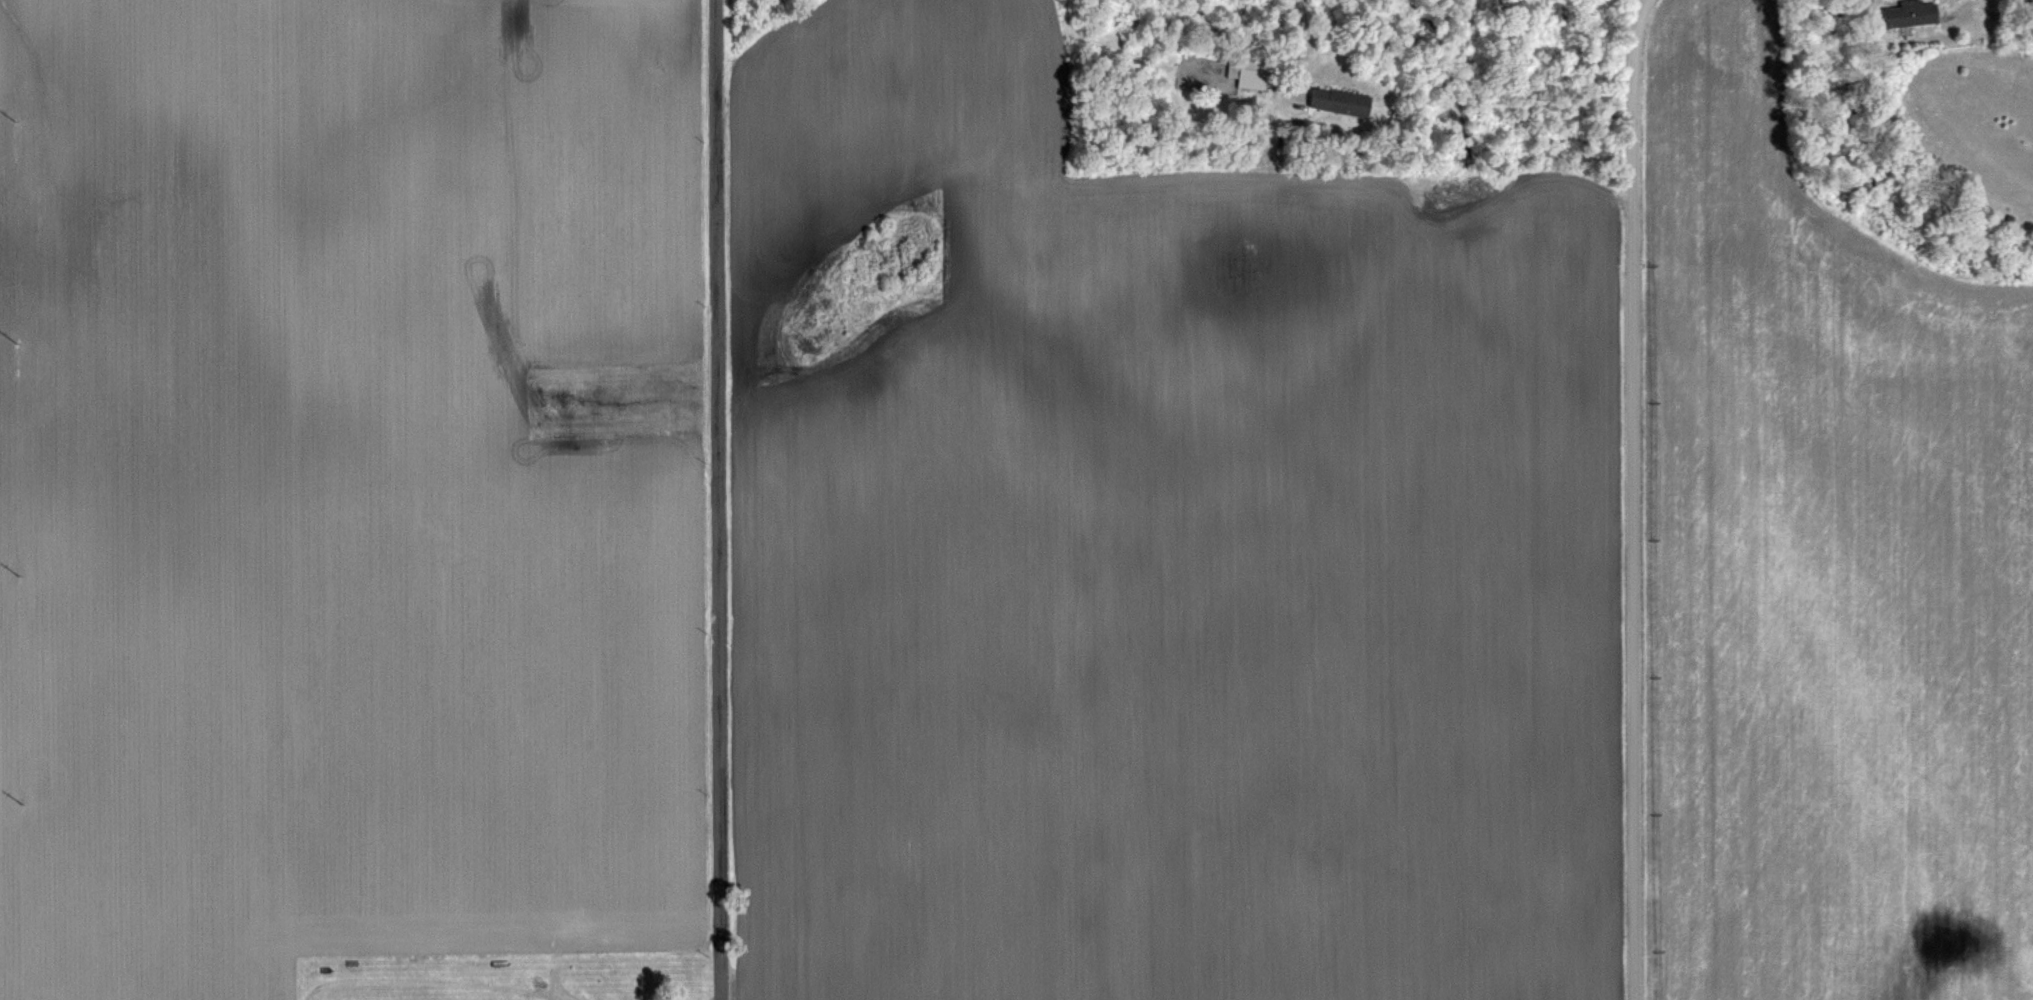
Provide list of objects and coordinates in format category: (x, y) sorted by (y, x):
building: (1913, 13)
road: (1313, 32)
building: (1250, 73)
building: (1343, 101)
road: (1631, 499)
road: (715, 500)
building: (326, 973)

